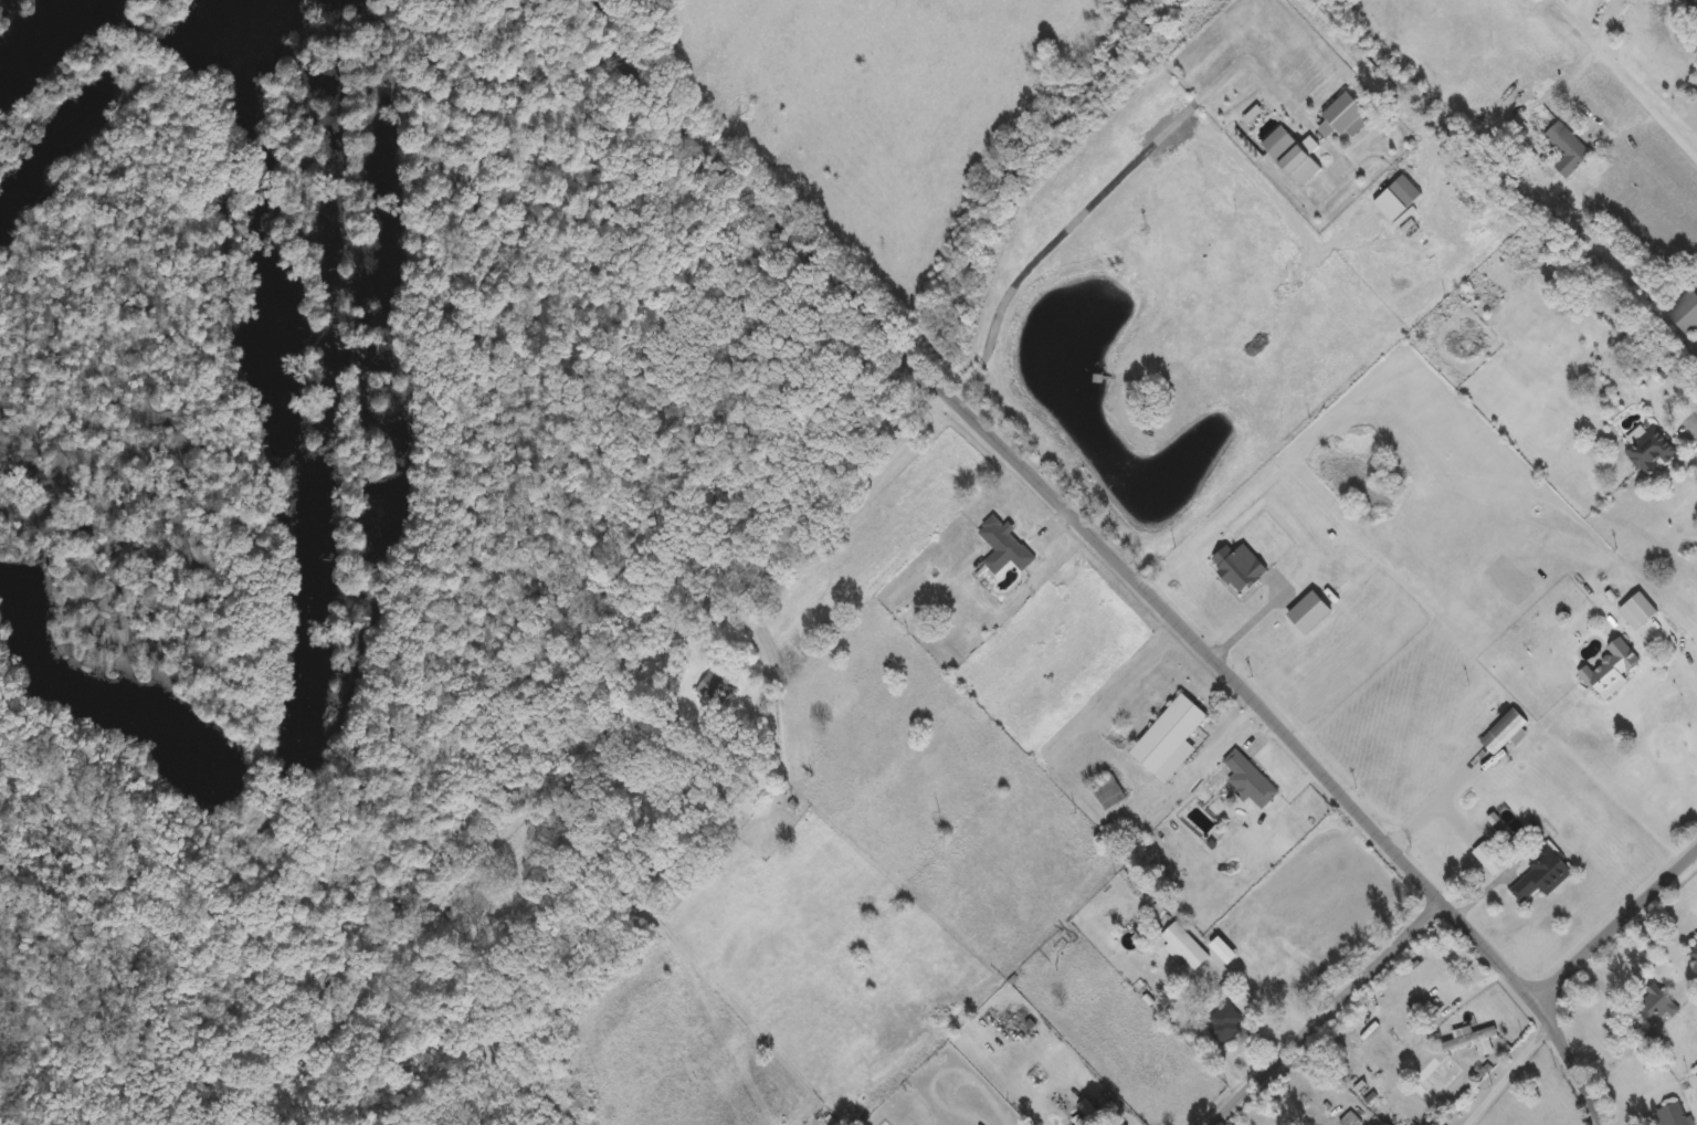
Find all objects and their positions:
building: (1693, 3)
road: (1606, 18)
road: (1631, 70)
building: (1567, 147)
building: (1293, 158)
road: (1118, 175)
building: (1404, 188)
building: (1684, 311)
road: (1695, 429)
building: (1649, 451)
road: (803, 530)
building: (1003, 544)
road: (1120, 553)
road: (1250, 614)
road: (1683, 658)
building: (1610, 666)
building: (628, 722)
building: (1503, 729)
building: (1169, 737)
building: (1240, 778)
building: (1109, 790)
road: (1434, 801)
building: (1541, 871)
road: (1621, 926)
building: (1184, 944)
building: (1695, 954)
road: (1484, 981)
building: (1655, 1002)
road: (1258, 1006)
road: (1330, 1010)
building: (1227, 1018)
building: (1469, 1034)
road: (1515, 1071)
building: (1437, 1076)
building: (1672, 1113)
building: (1119, 1123)

